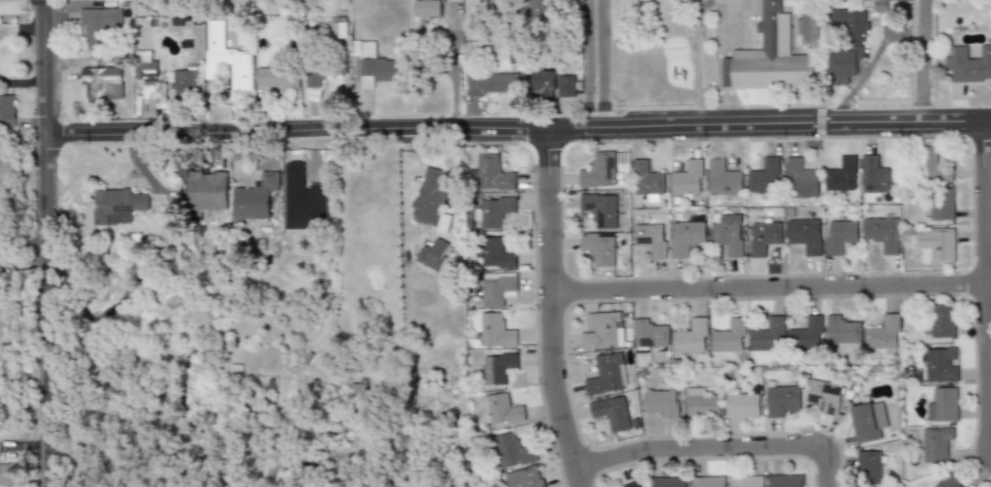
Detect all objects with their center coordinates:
building: (880, 6)
building: (429, 8)
building: (539, 10)
building: (98, 25)
building: (339, 27)
building: (809, 28)
building: (849, 39)
road: (724, 52)
building: (227, 57)
building: (773, 57)
road: (921, 62)
road: (599, 63)
building: (969, 64)
road: (454, 65)
building: (378, 67)
road: (728, 69)
building: (277, 75)
building: (313, 79)
building: (186, 83)
building: (491, 83)
building: (103, 84)
building: (554, 84)
road: (717, 86)
road: (730, 104)
building: (7, 108)
road: (518, 129)
building: (935, 167)
building: (600, 171)
building: (493, 174)
building: (842, 175)
building: (765, 177)
building: (688, 178)
building: (877, 178)
building: (724, 179)
building: (801, 180)
building: (648, 181)
building: (208, 190)
building: (256, 198)
building: (942, 203)
building: (119, 206)
building: (601, 209)
building: (494, 212)
building: (883, 233)
building: (728, 234)
building: (805, 235)
building: (840, 236)
building: (686, 237)
building: (764, 237)
building: (651, 239)
road: (47, 243)
road: (23, 244)
building: (938, 244)
building: (599, 248)
building: (433, 254)
building: (495, 254)
road: (771, 286)
road: (985, 286)
building: (497, 288)
road: (551, 309)
building: (943, 321)
building: (842, 330)
building: (603, 331)
building: (497, 332)
building: (650, 334)
building: (884, 334)
building: (807, 335)
building: (768, 336)
building: (691, 337)
building: (730, 337)
building: (941, 365)
building: (499, 367)
building: (608, 374)
building: (824, 396)
building: (782, 400)
building: (661, 402)
building: (702, 404)
building: (943, 405)
building: (501, 409)
building: (614, 414)
building: (868, 421)
building: (936, 443)
road: (714, 447)
building: (513, 451)
building: (0, 452)
building: (869, 467)
building: (9, 475)
building: (524, 478)
building: (746, 481)
building: (786, 481)
building: (669, 482)
building: (948, 482)
building: (633, 484)

